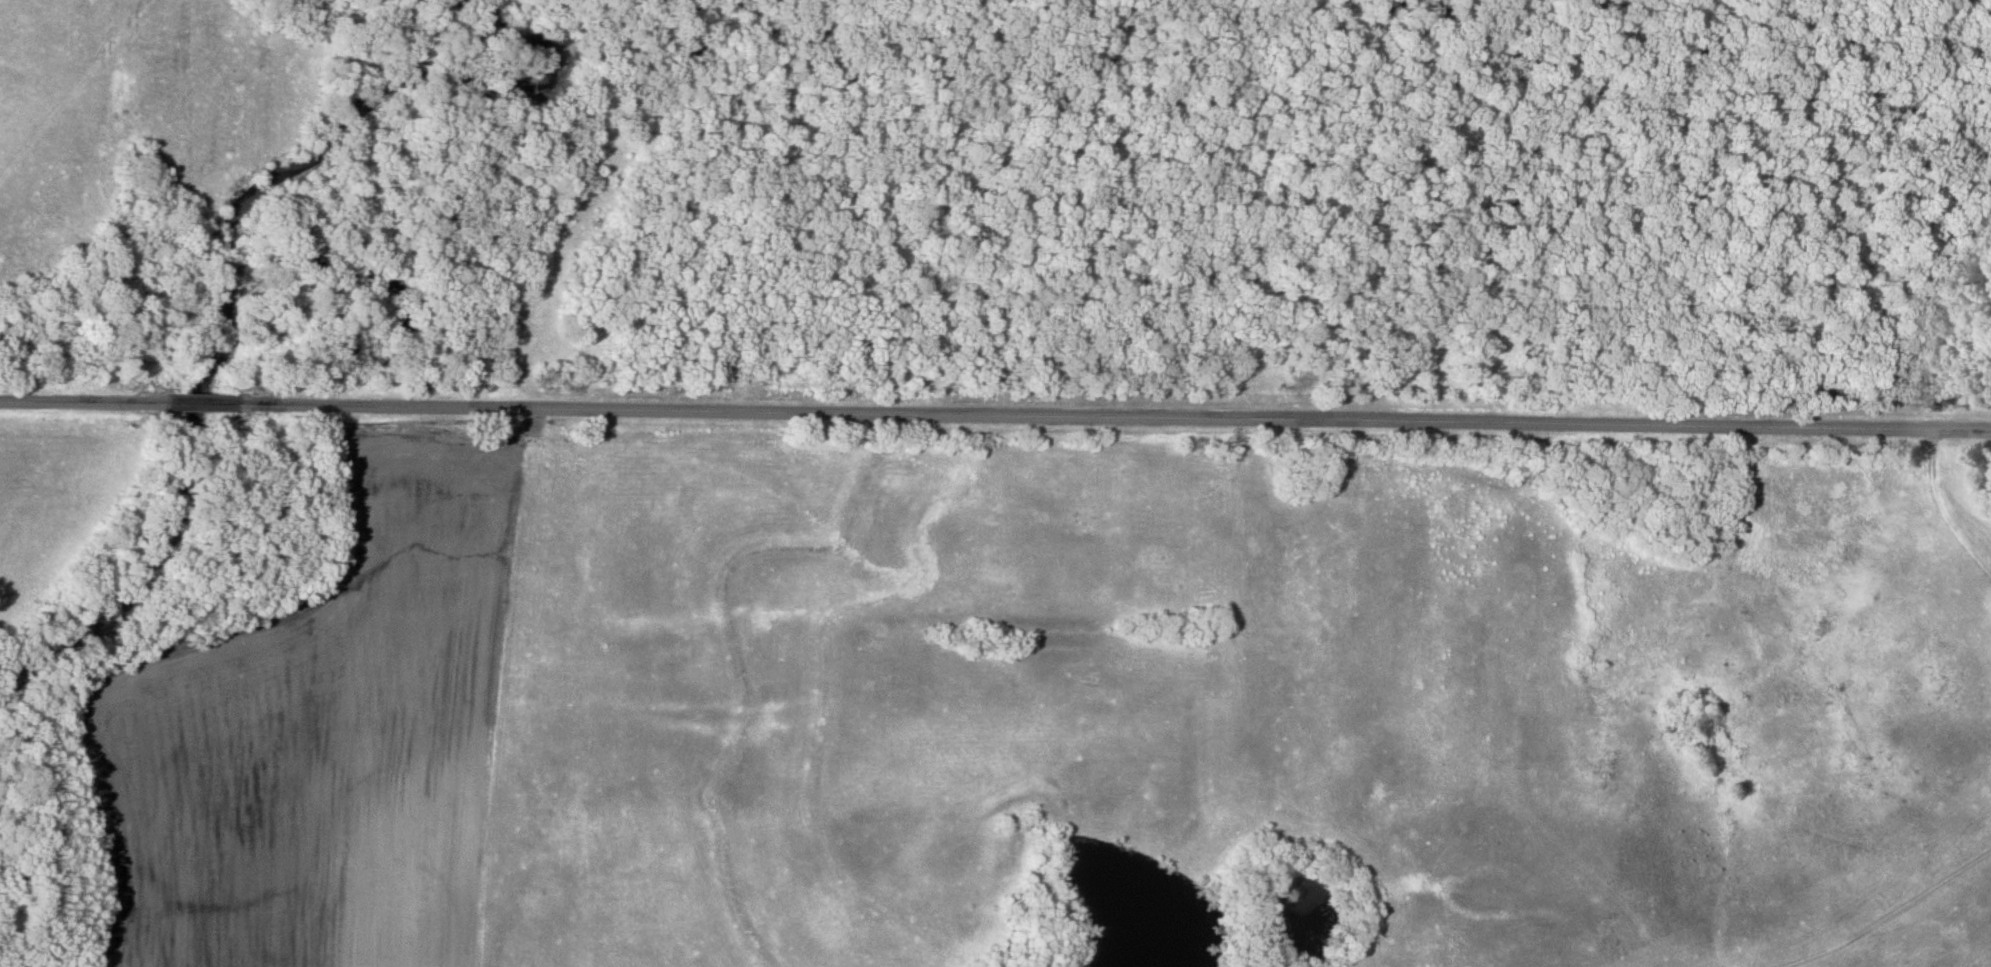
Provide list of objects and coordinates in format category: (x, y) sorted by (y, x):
road: (101, 401)
road: (1097, 419)

